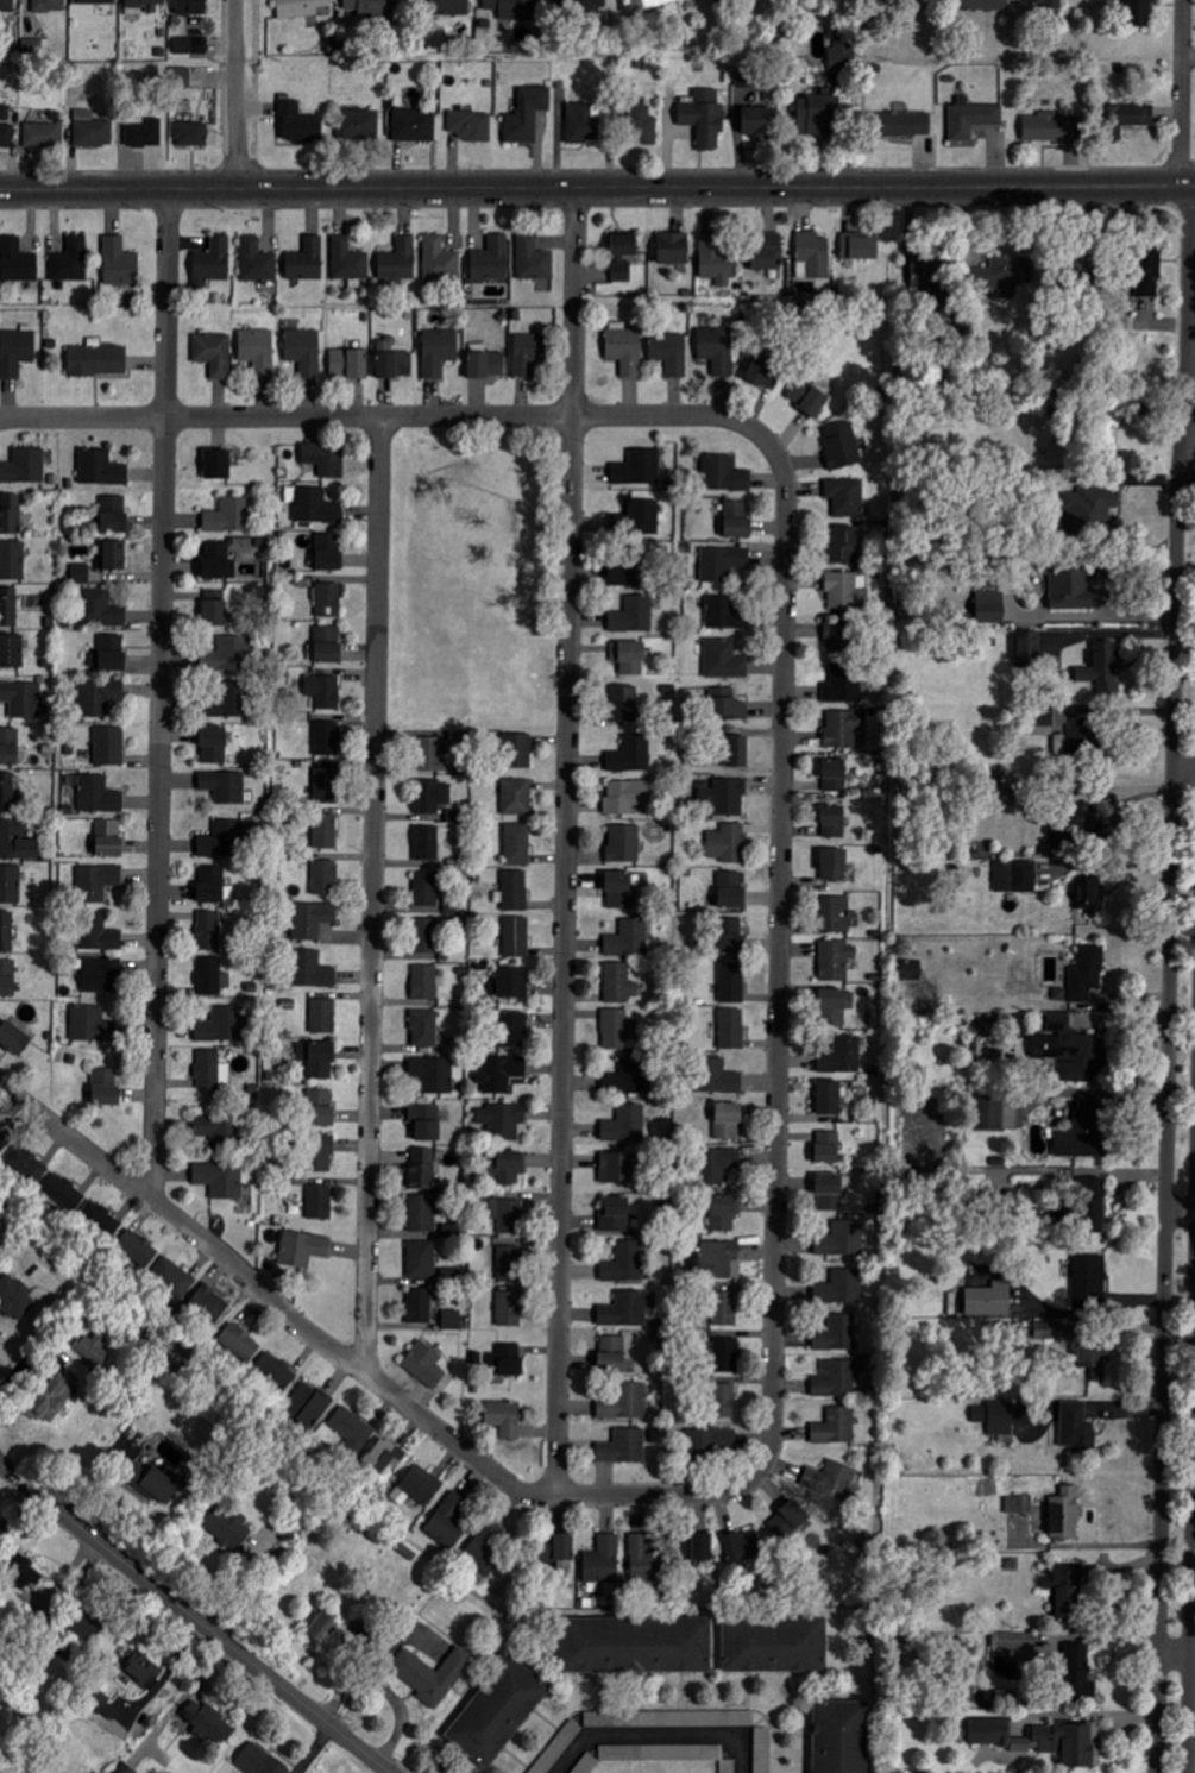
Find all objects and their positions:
building: (95, 1)
building: (648, 4)
building: (1050, 4)
building: (50, 5)
building: (986, 5)
building: (7, 6)
building: (144, 6)
building: (445, 6)
building: (580, 6)
building: (191, 7)
building: (372, 7)
building: (304, 8)
building: (511, 8)
building: (1139, 12)
building: (191, 44)
building: (844, 54)
building: (181, 77)
building: (748, 77)
road: (1183, 90)
road: (235, 95)
building: (527, 114)
building: (818, 115)
building: (1131, 115)
building: (705, 117)
building: (973, 119)
building: (761, 120)
building: (584, 122)
building: (646, 122)
building: (300, 124)
building: (358, 124)
building: (902, 124)
building: (415, 125)
building: (472, 125)
building: (1054, 126)
building: (6, 127)
building: (93, 131)
building: (145, 133)
building: (193, 133)
building: (44, 134)
road: (597, 189)
building: (861, 246)
building: (674, 247)
building: (768, 253)
building: (815, 253)
building: (624, 256)
building: (718, 258)
building: (214, 259)
building: (308, 259)
building: (350, 259)
building: (441, 259)
building: (492, 259)
building: (534, 259)
building: (18, 260)
building: (71, 260)
building: (258, 260)
building: (400, 260)
building: (120, 262)
building: (931, 271)
building: (1149, 271)
building: (1004, 275)
building: (1067, 283)
road: (1194, 342)
building: (627, 348)
building: (718, 350)
building: (259, 351)
building: (304, 351)
building: (439, 351)
building: (17, 352)
building: (214, 353)
building: (528, 353)
building: (671, 353)
building: (98, 359)
building: (394, 360)
building: (350, 364)
building: (488, 364)
building: (765, 373)
road: (1194, 378)
building: (809, 397)
road: (395, 417)
building: (842, 446)
building: (325, 458)
building: (218, 464)
building: (25, 466)
building: (101, 467)
building: (639, 469)
building: (725, 474)
building: (847, 496)
building: (316, 507)
building: (11, 514)
building: (114, 514)
building: (1092, 514)
building: (229, 516)
building: (641, 517)
building: (737, 520)
building: (844, 546)
building: (329, 552)
building: (115, 555)
building: (12, 560)
building: (219, 561)
building: (724, 562)
building: (81, 573)
building: (624, 574)
building: (1076, 586)
building: (847, 592)
building: (329, 599)
building: (8, 606)
building: (992, 606)
building: (102, 609)
building: (215, 609)
building: (724, 614)
building: (634, 616)
building: (842, 636)
building: (328, 645)
building: (1030, 649)
building: (12, 650)
building: (233, 653)
building: (109, 654)
building: (630, 658)
building: (725, 659)
building: (1103, 669)
building: (844, 685)
building: (325, 691)
road: (162, 693)
building: (100, 697)
building: (23, 698)
building: (229, 702)
building: (625, 704)
building: (729, 705)
building: (845, 728)
building: (327, 738)
building: (1084, 742)
building: (214, 744)
building: (109, 746)
building: (10, 747)
building: (518, 750)
building: (737, 752)
building: (635, 754)
building: (430, 755)
building: (835, 775)
building: (326, 785)
building: (225, 786)
building: (7, 792)
building: (99, 796)
building: (432, 796)
building: (517, 797)
building: (627, 797)
building: (725, 797)
building: (835, 822)
building: (1082, 828)
building: (326, 831)
building: (109, 838)
building: (222, 840)
building: (18, 841)
building: (428, 843)
road: (566, 843)
building: (624, 843)
building: (518, 844)
building: (728, 844)
building: (835, 865)
building: (1015, 876)
building: (325, 878)
building: (98, 882)
building: (11, 884)
building: (212, 885)
building: (427, 889)
building: (622, 889)
building: (732, 889)
building: (515, 891)
road: (372, 894)
building: (1090, 895)
building: (836, 914)
building: (313, 919)
building: (209, 930)
building: (6, 931)
building: (99, 933)
building: (426, 936)
building: (732, 936)
building: (517, 937)
building: (629, 939)
road: (780, 955)
building: (836, 960)
building: (312, 970)
building: (910, 972)
building: (1088, 973)
building: (102, 975)
building: (212, 976)
building: (7, 979)
building: (426, 982)
building: (732, 982)
building: (512, 983)
building: (621, 983)
building: (837, 1005)
building: (323, 1017)
building: (93, 1025)
building: (222, 1026)
building: (424, 1029)
building: (732, 1029)
building: (615, 1030)
building: (512, 1031)
building: (14, 1038)
building: (1071, 1048)
building: (843, 1057)
building: (319, 1060)
building: (208, 1069)
road: (1168, 1073)
building: (434, 1074)
building: (501, 1074)
building: (718, 1077)
building: (630, 1079)
building: (106, 1087)
building: (830, 1098)
building: (321, 1108)
building: (992, 1114)
building: (503, 1120)
building: (729, 1121)
building: (427, 1123)
building: (627, 1125)
building: (216, 1128)
building: (1084, 1132)
building: (829, 1148)
building: (320, 1155)
building: (20, 1159)
building: (719, 1165)
building: (504, 1168)
building: (617, 1169)
building: (423, 1170)
building: (220, 1180)
building: (832, 1192)
building: (64, 1193)
building: (320, 1202)
building: (1095, 1206)
building: (725, 1213)
building: (422, 1214)
building: (1059, 1214)
building: (509, 1215)
building: (615, 1215)
building: (101, 1220)
building: (843, 1239)
building: (137, 1247)
building: (303, 1249)
building: (422, 1260)
building: (721, 1260)
building: (509, 1264)
building: (625, 1264)
building: (172, 1277)
building: (1089, 1283)
building: (843, 1288)
building: (14, 1299)
building: (990, 1301)
building: (209, 1306)
building: (420, 1306)
building: (509, 1309)
building: (629, 1309)
building: (725, 1309)
building: (452, 1320)
building: (1051, 1331)
building: (837, 1334)
road: (23, 1339)
building: (240, 1343)
building: (93, 1350)
building: (612, 1354)
building: (727, 1354)
building: (508, 1360)
building: (1096, 1360)
building: (427, 1364)
building: (276, 1371)
road: (363, 1371)
building: (838, 1379)
building: (52, 1400)
building: (724, 1401)
building: (624, 1403)
building: (308, 1404)
building: (996, 1417)
building: (505, 1419)
building: (836, 1427)
building: (1078, 1429)
building: (713, 1440)
building: (624, 1447)
building: (385, 1457)
building: (834, 1480)
building: (157, 1482)
building: (422, 1485)
building: (400, 1495)
building: (1020, 1504)
building: (1067, 1515)
building: (449, 1521)
building: (790, 1521)
building: (227, 1528)
building: (743, 1547)
building: (488, 1548)
building: (703, 1548)
building: (647, 1560)
building: (604, 1561)
building: (20, 1570)
road: (1191, 1576)
road: (237, 1578)
building: (1068, 1590)
road: (194, 1618)
building: (322, 1629)
building: (1018, 1642)
building: (775, 1645)
building: (636, 1646)
building: (143, 1666)
building: (1080, 1671)
road: (166, 1673)
building: (433, 1673)
road: (391, 1693)
building: (98, 1699)
building: (498, 1710)
building: (669, 1718)
building: (208, 1721)
building: (989, 1730)
building: (842, 1736)
road: (661, 1737)
building: (1061, 1743)
building: (558, 1747)
building: (763, 1749)
building: (668, 1753)
building: (260, 1761)
building: (587, 1763)

